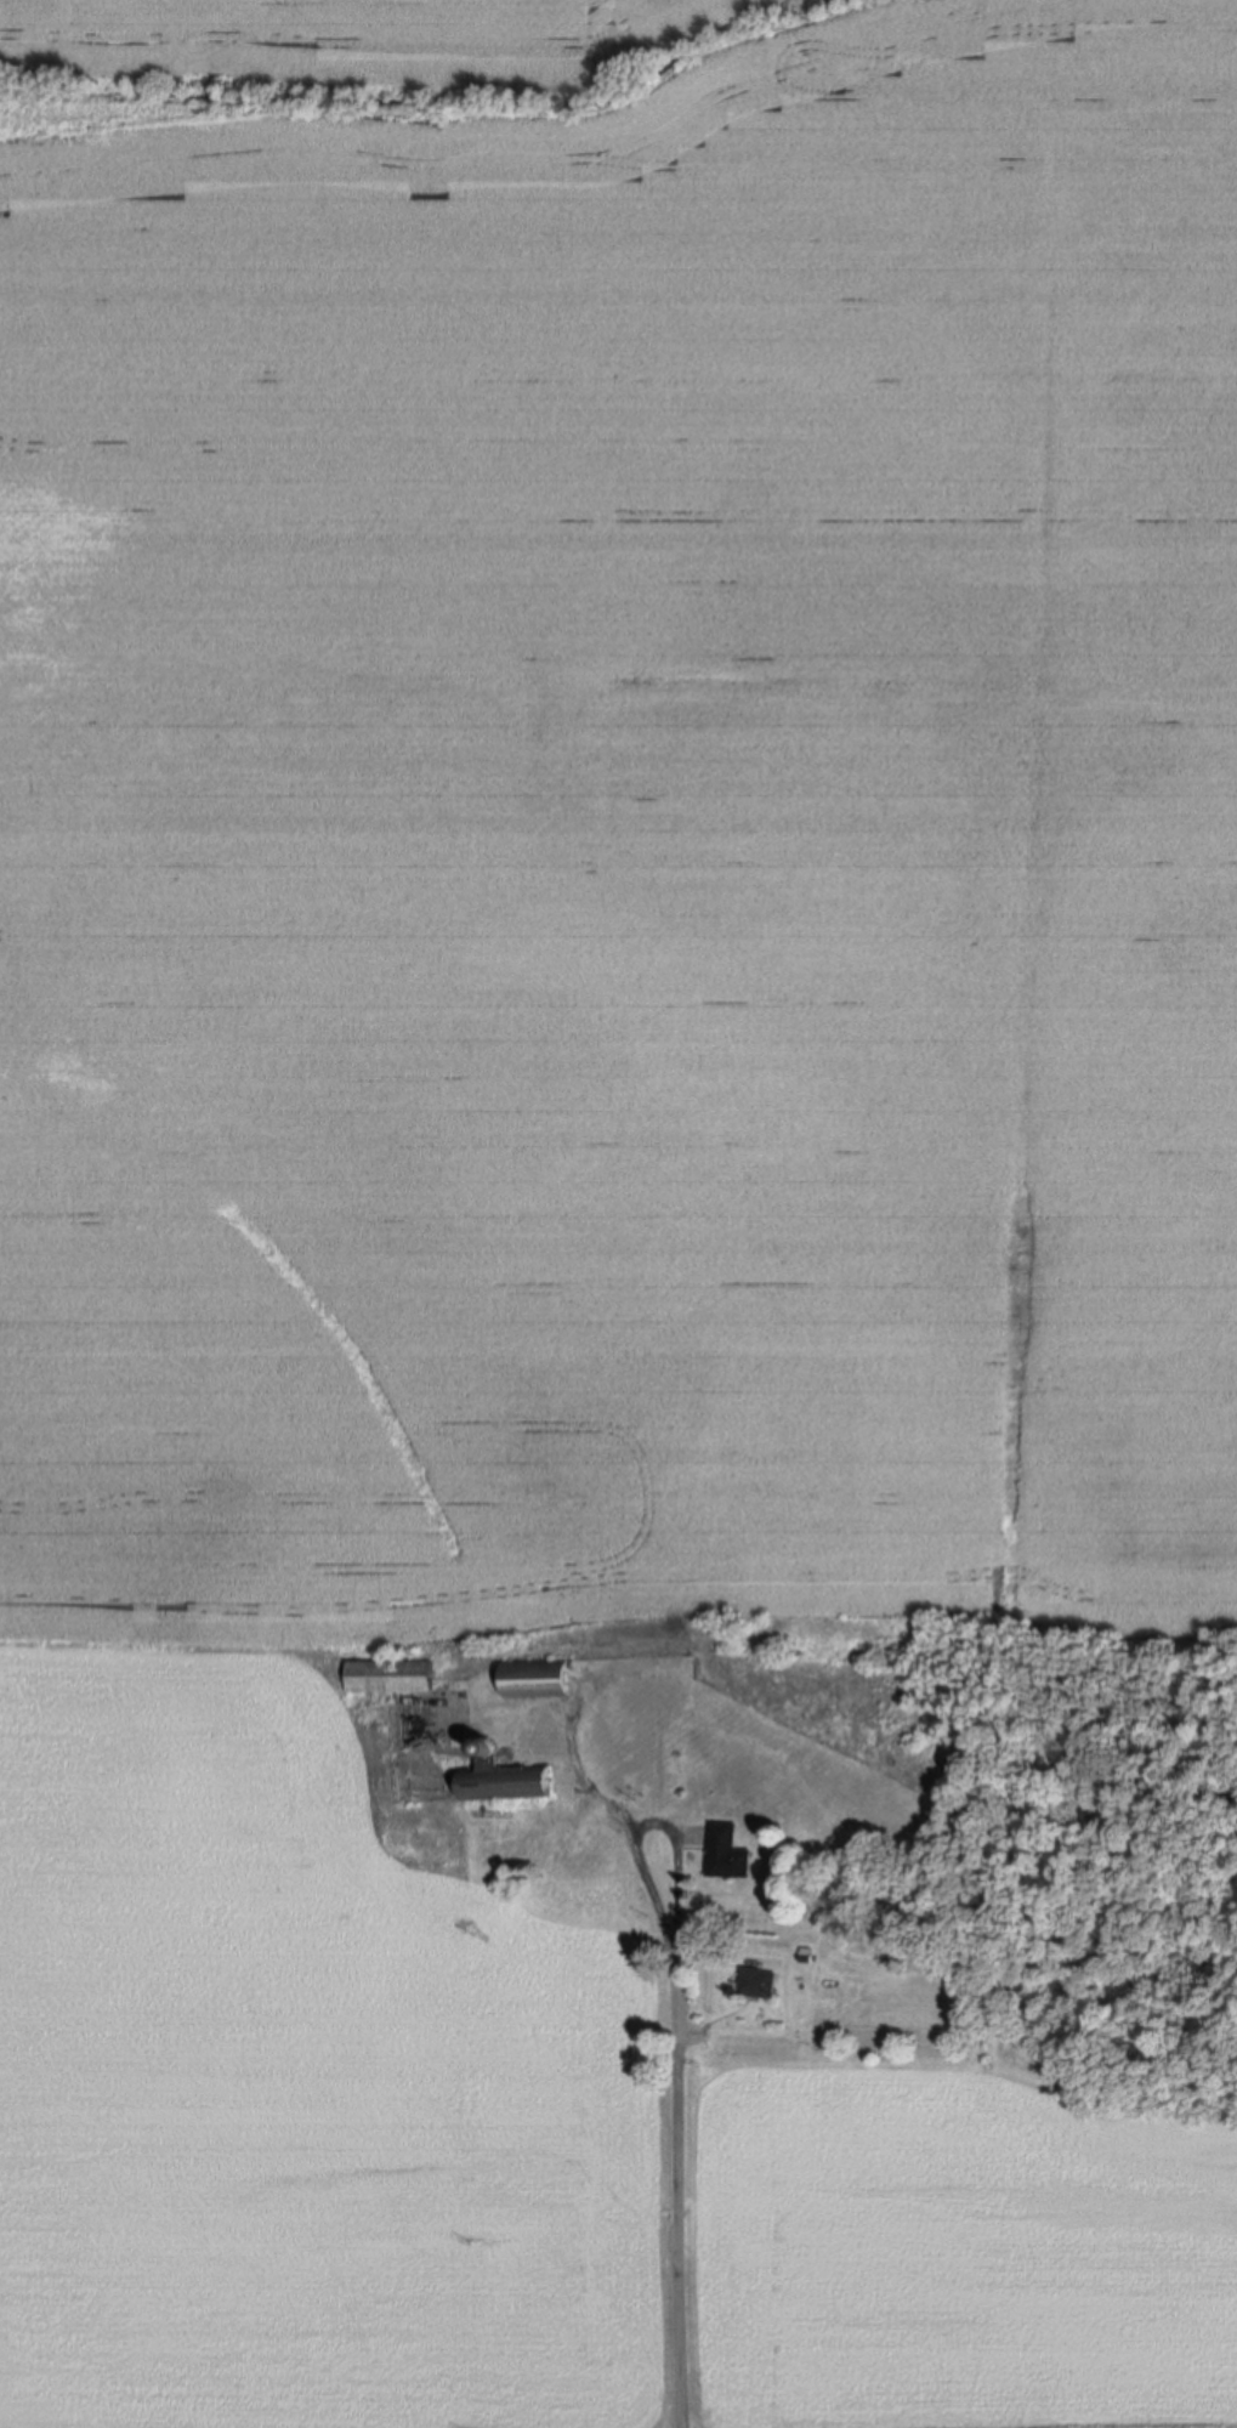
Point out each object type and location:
crop: (614, 813)
building: (393, 1674)
building: (537, 1677)
building: (505, 1776)
road: (649, 1816)
building: (724, 1851)
building: (757, 1981)
crop: (496, 2134)
road: (675, 2185)

